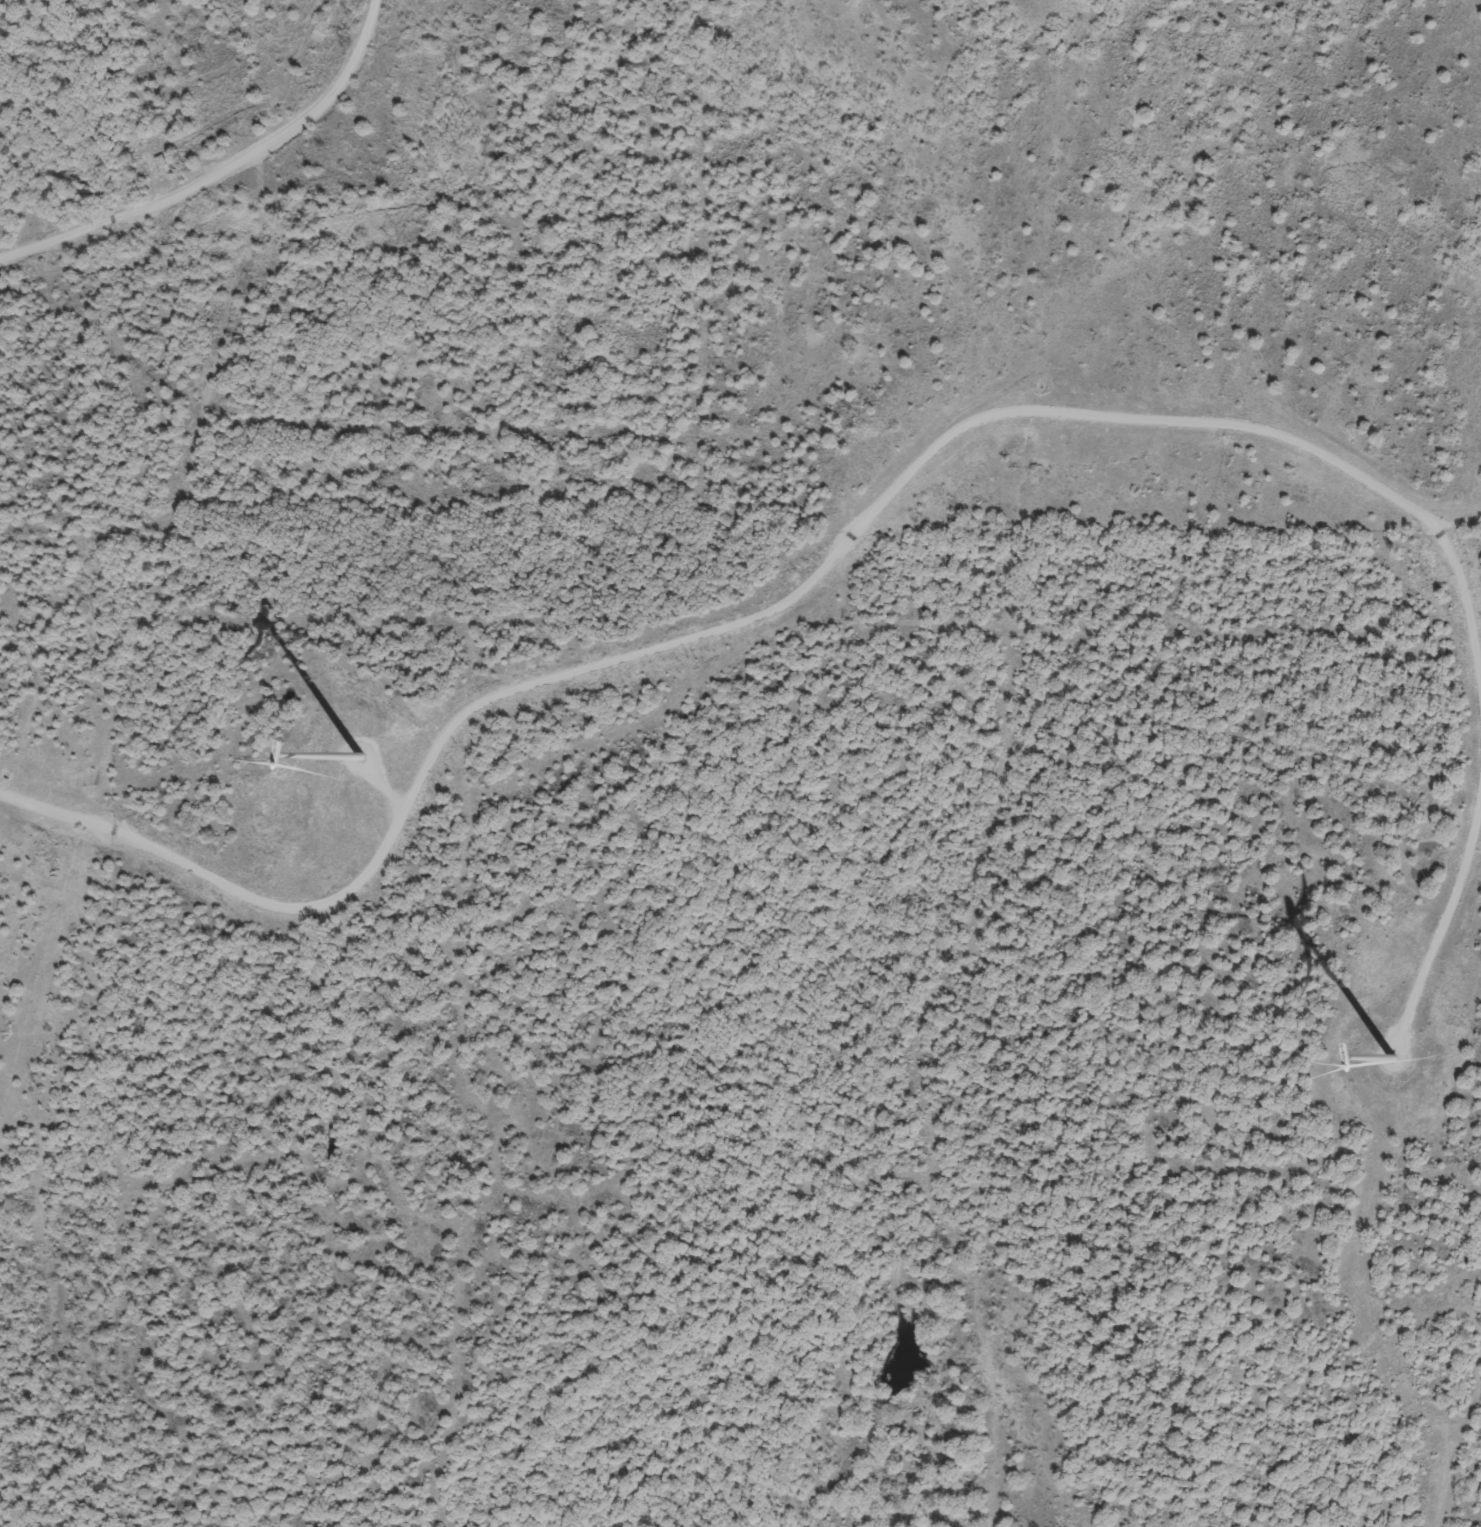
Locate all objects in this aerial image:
road: (223, 167)
wind turbine: (356, 754)
wind turbine: (1388, 1052)

